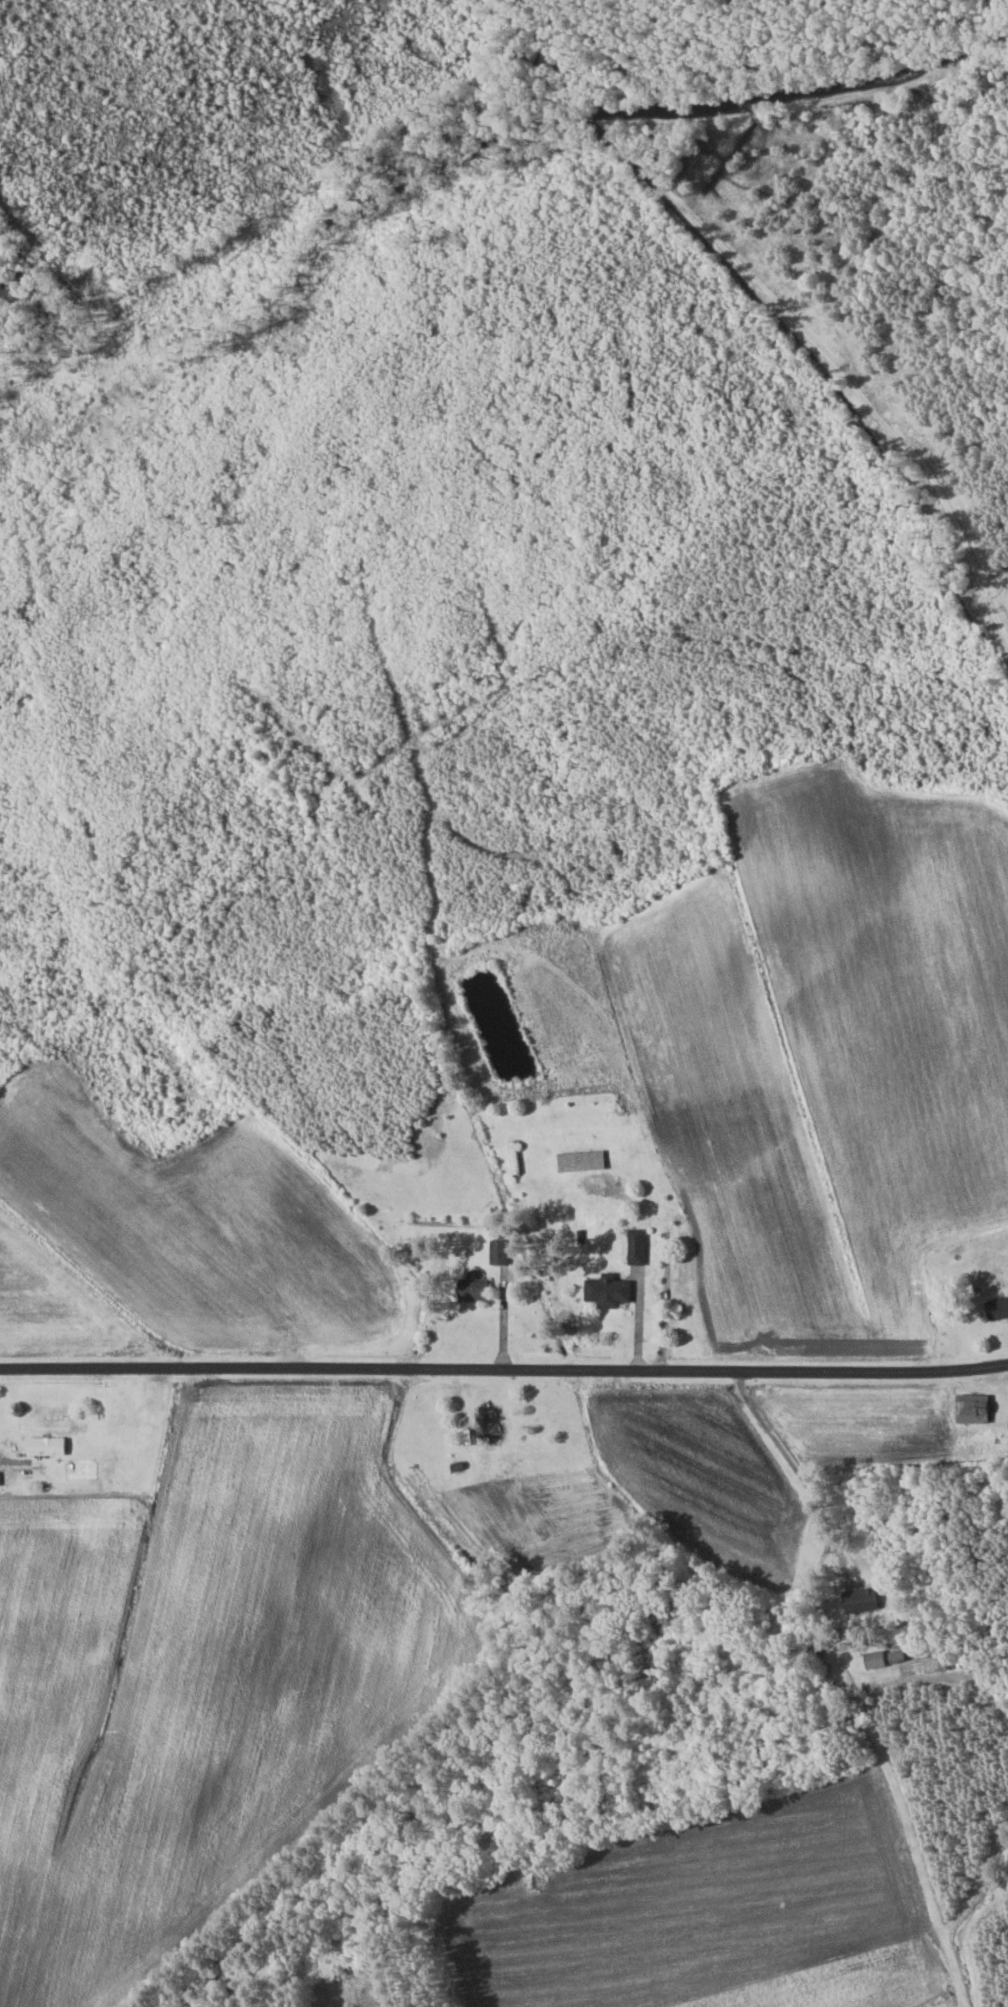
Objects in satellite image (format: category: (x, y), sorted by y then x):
building: (512, 1157)
building: (579, 1160)
building: (635, 1247)
building: (497, 1252)
building: (471, 1289)
building: (606, 1291)
building: (995, 1308)
road: (504, 1368)
building: (970, 1408)
building: (487, 1420)
building: (46, 1446)
building: (454, 1461)
building: (858, 1600)
building: (895, 1656)
building: (873, 1659)

